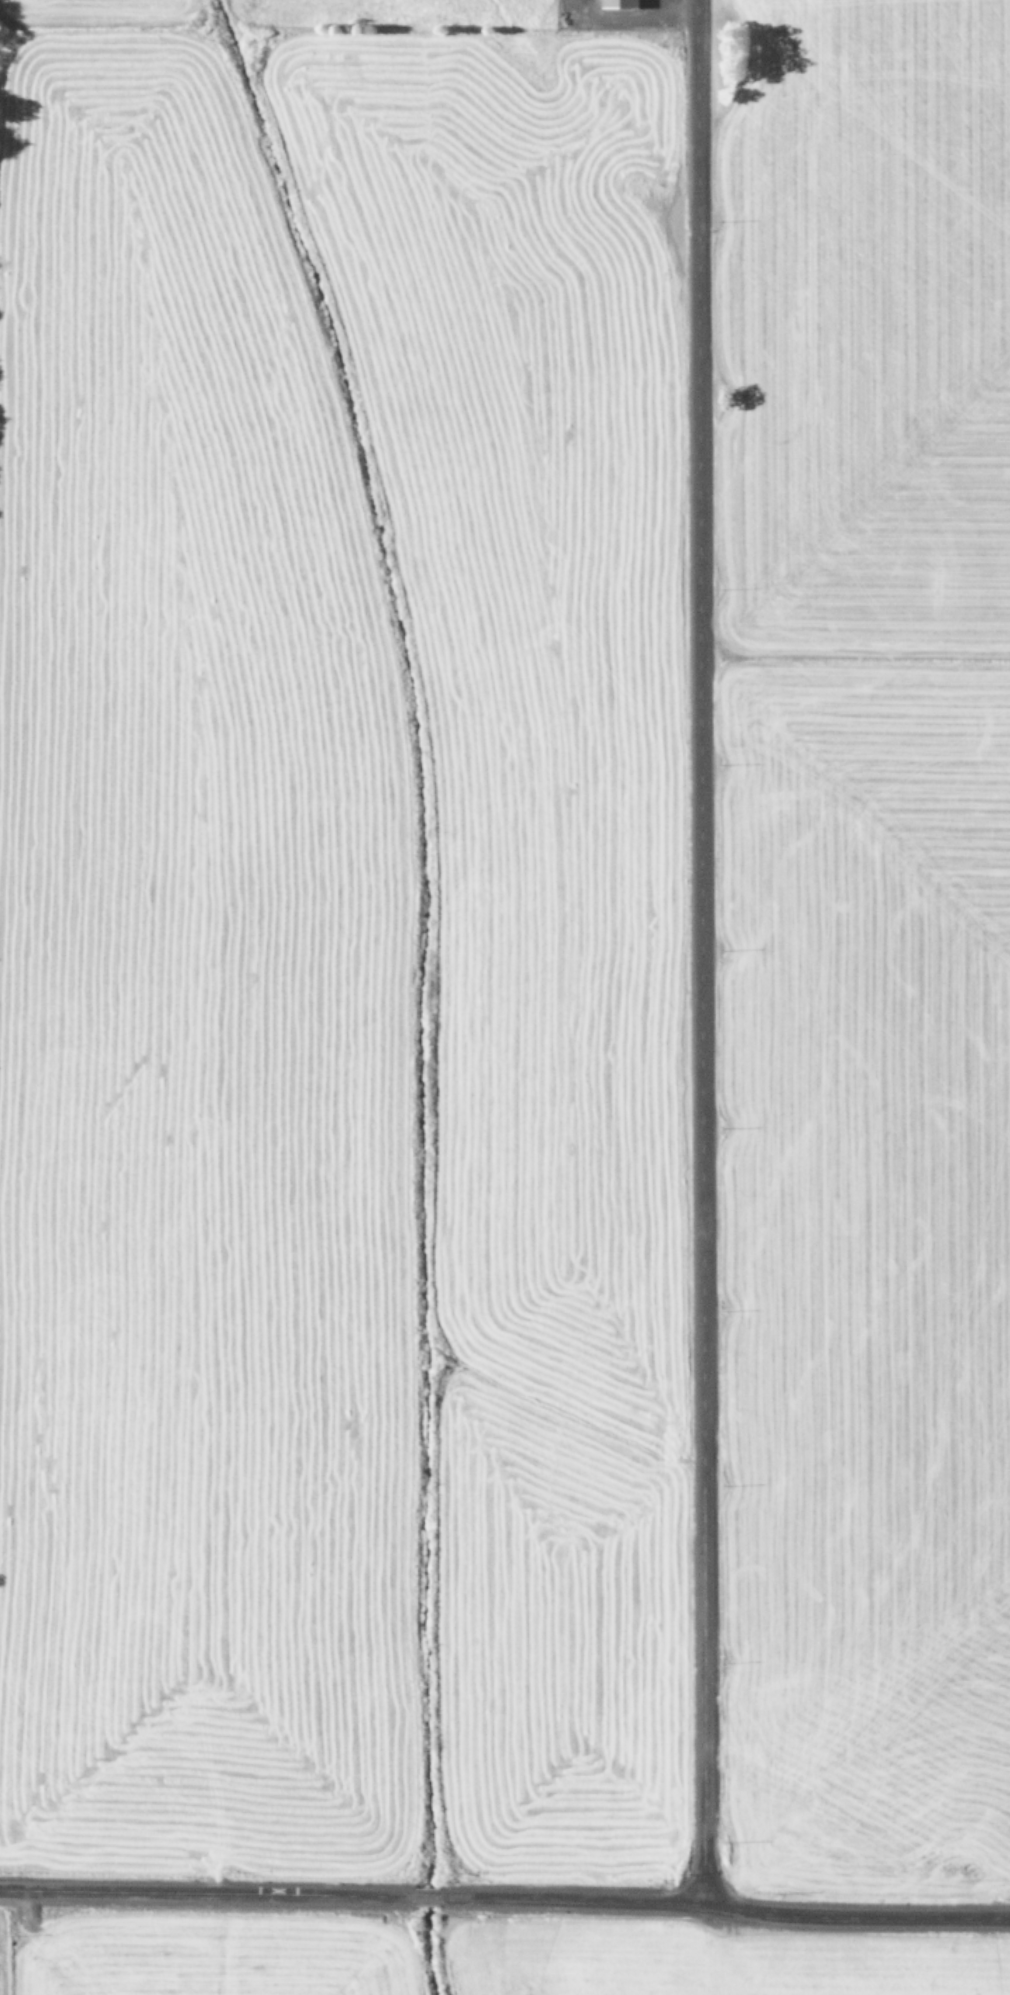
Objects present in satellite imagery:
building: (622, 4)
crop: (505, 934)
road: (695, 952)
road: (505, 1898)
crop: (490, 1959)

